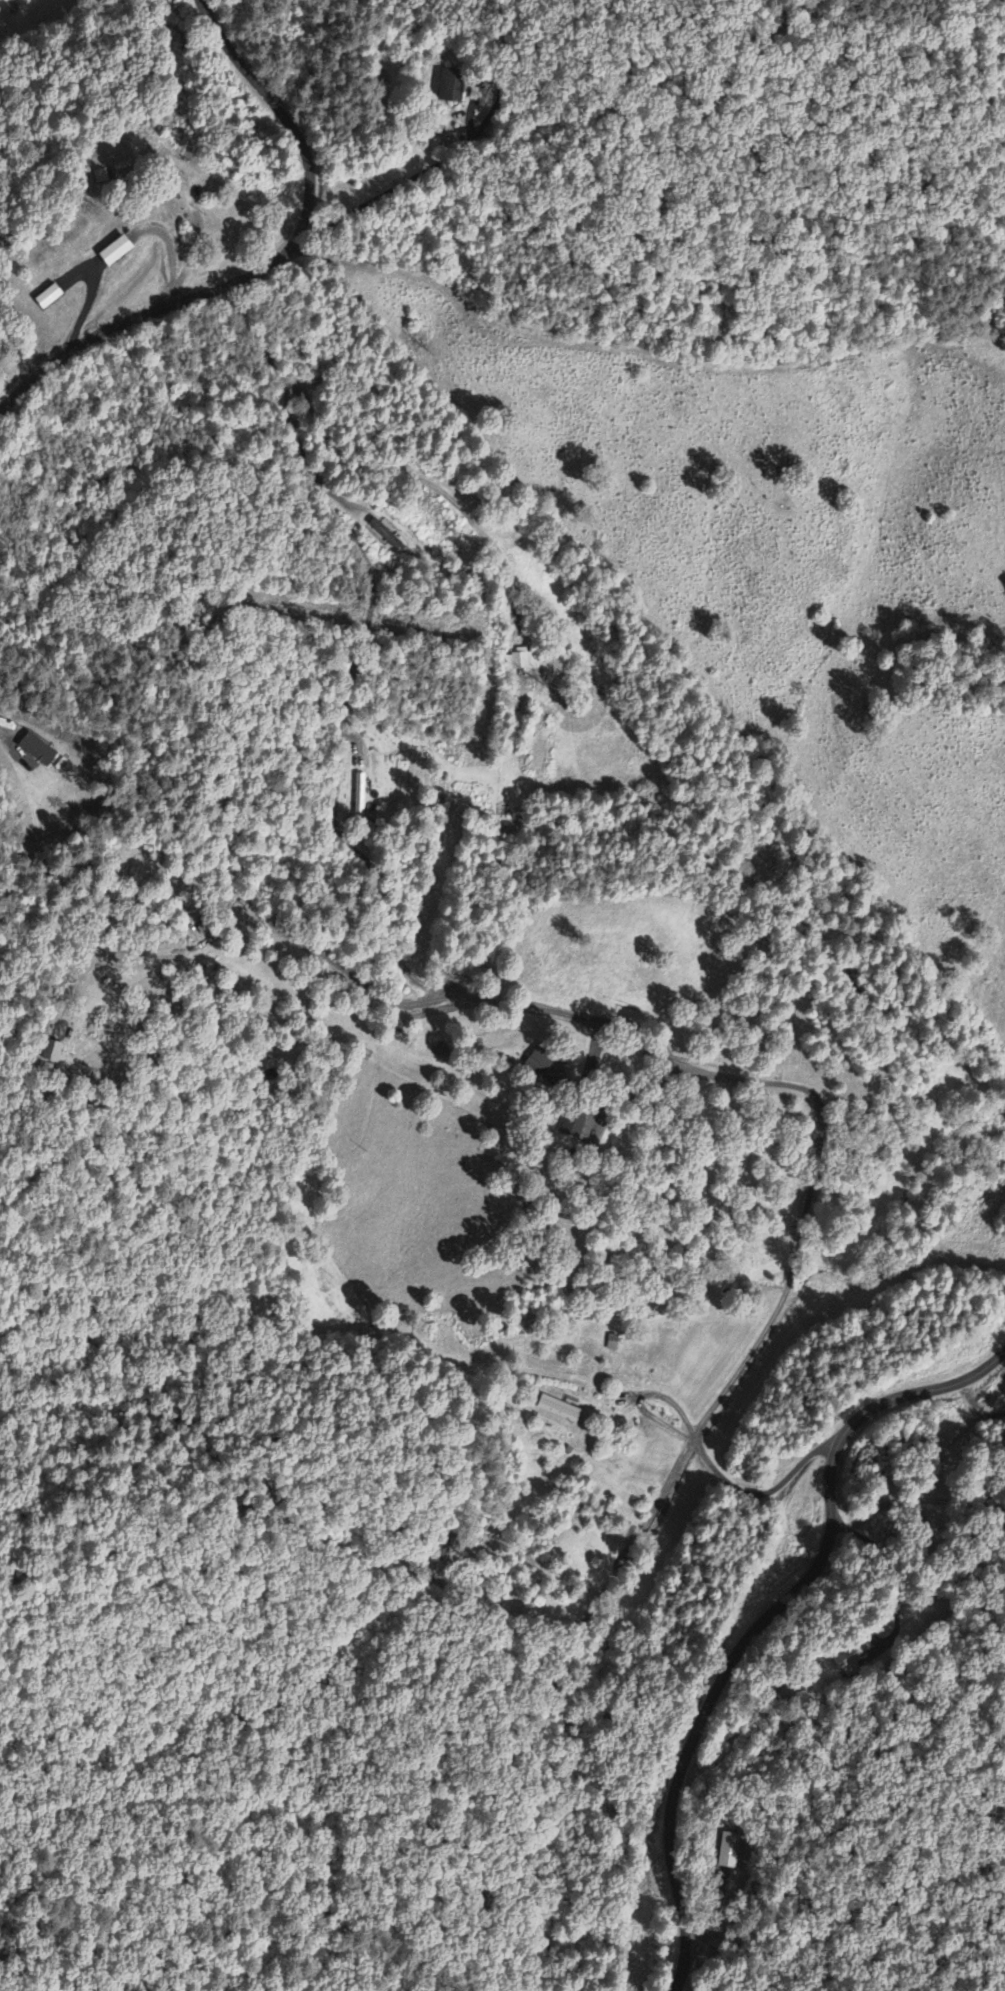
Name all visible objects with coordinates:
building: (449, 87)
building: (101, 177)
building: (112, 252)
road: (269, 264)
building: (46, 298)
building: (384, 534)
road: (360, 645)
building: (522, 661)
building: (359, 795)
building: (540, 1067)
building: (575, 1123)
road: (810, 1179)
building: (558, 1409)
road: (762, 1618)
building: (729, 1854)

